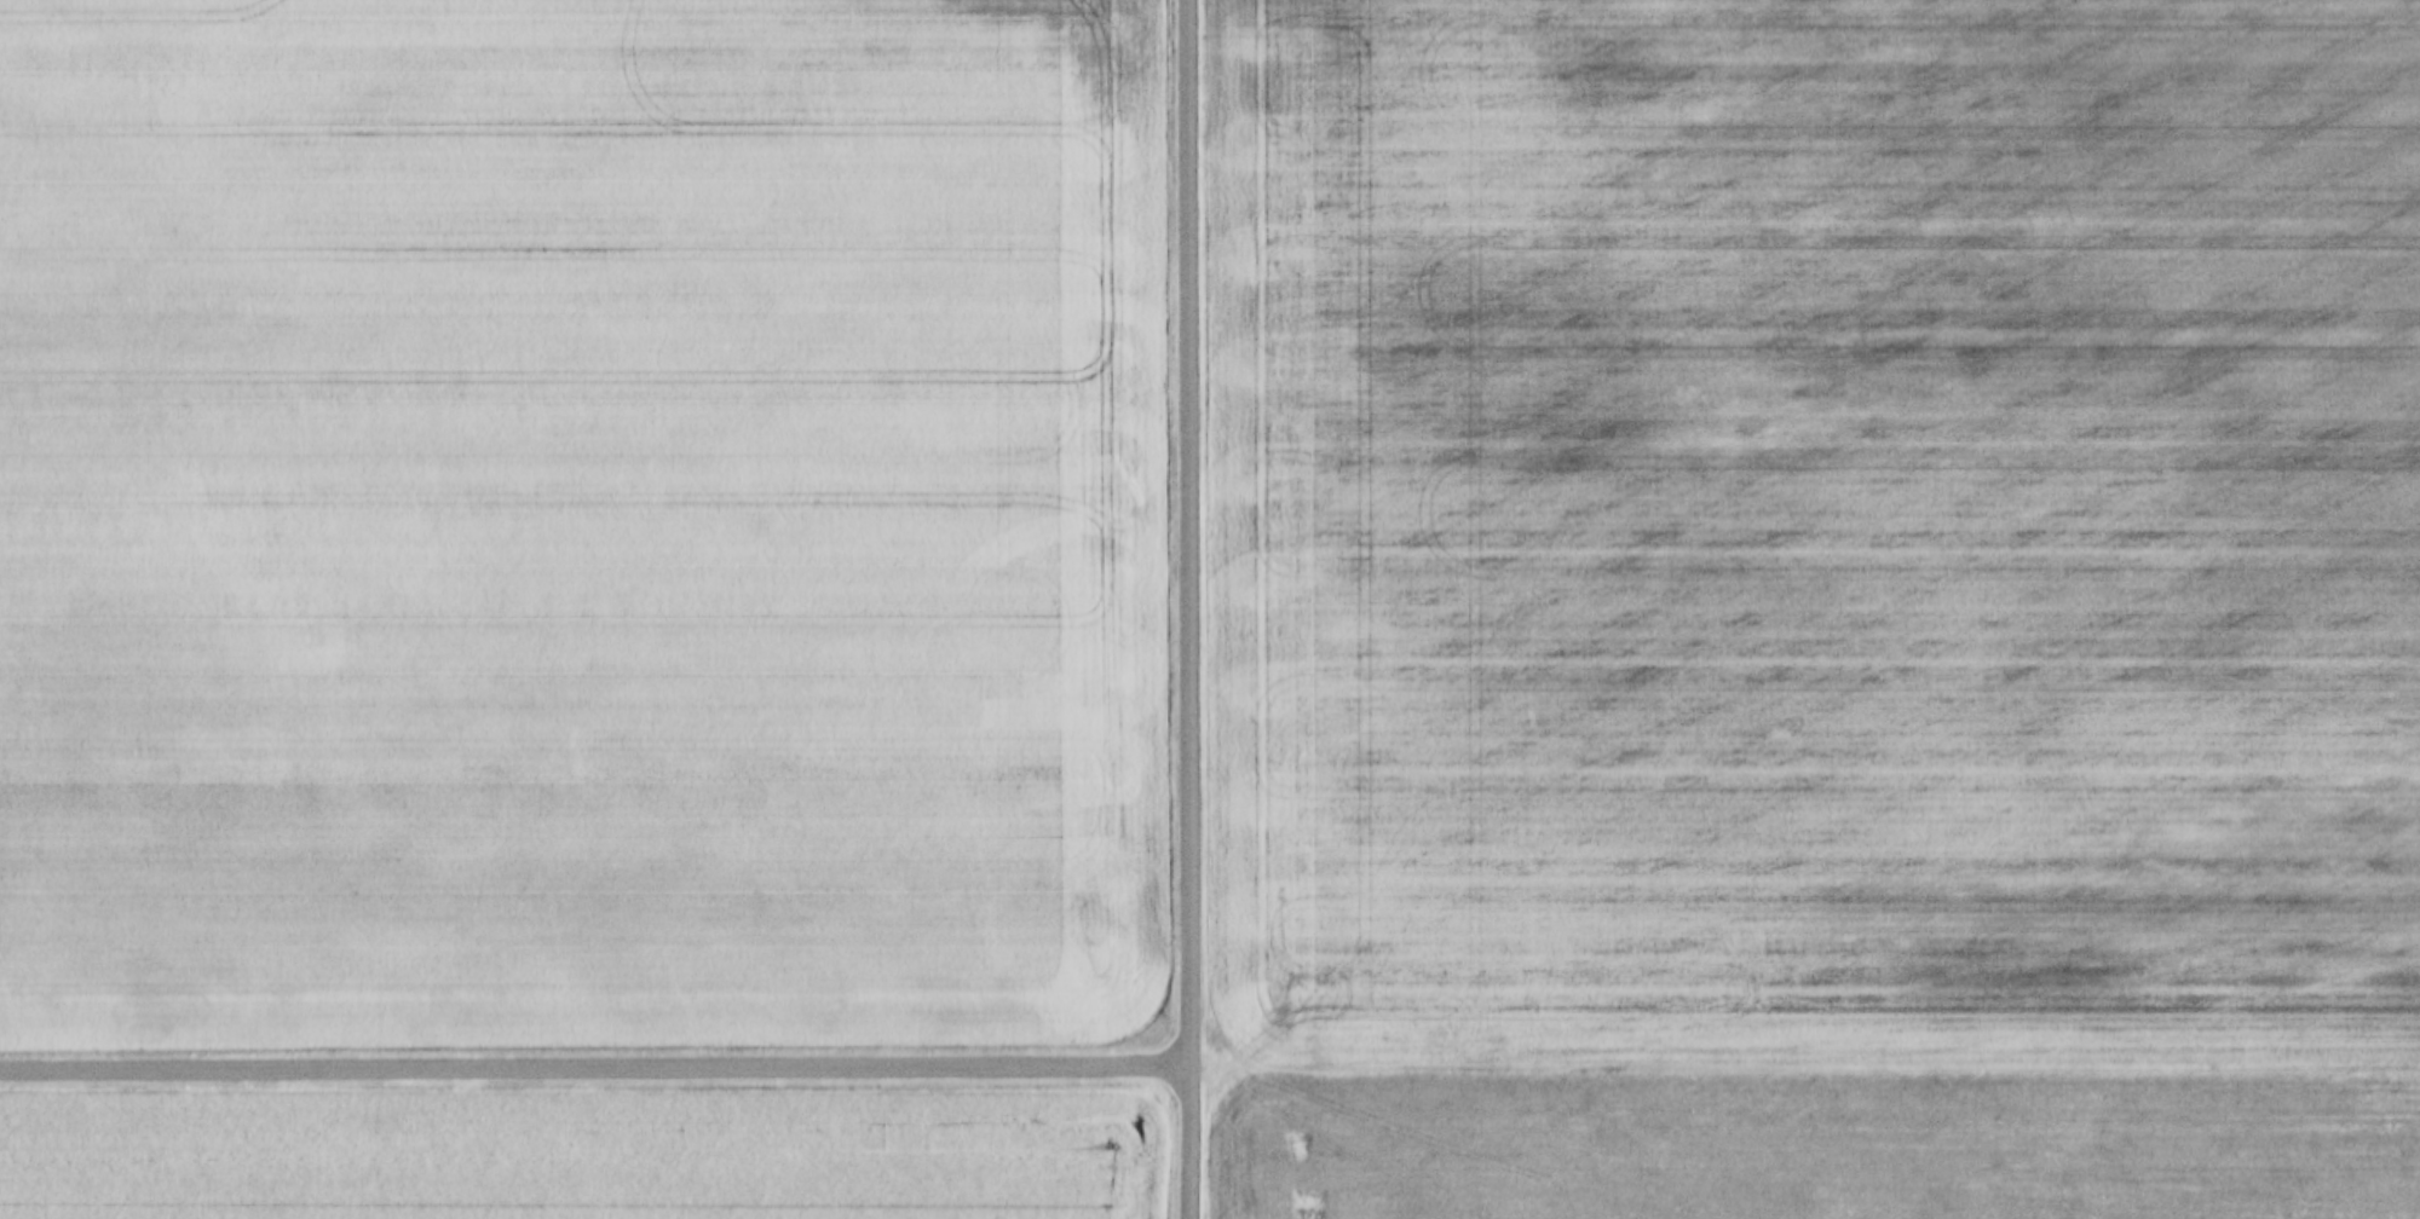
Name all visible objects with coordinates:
road: (1185, 609)
road: (592, 1064)

